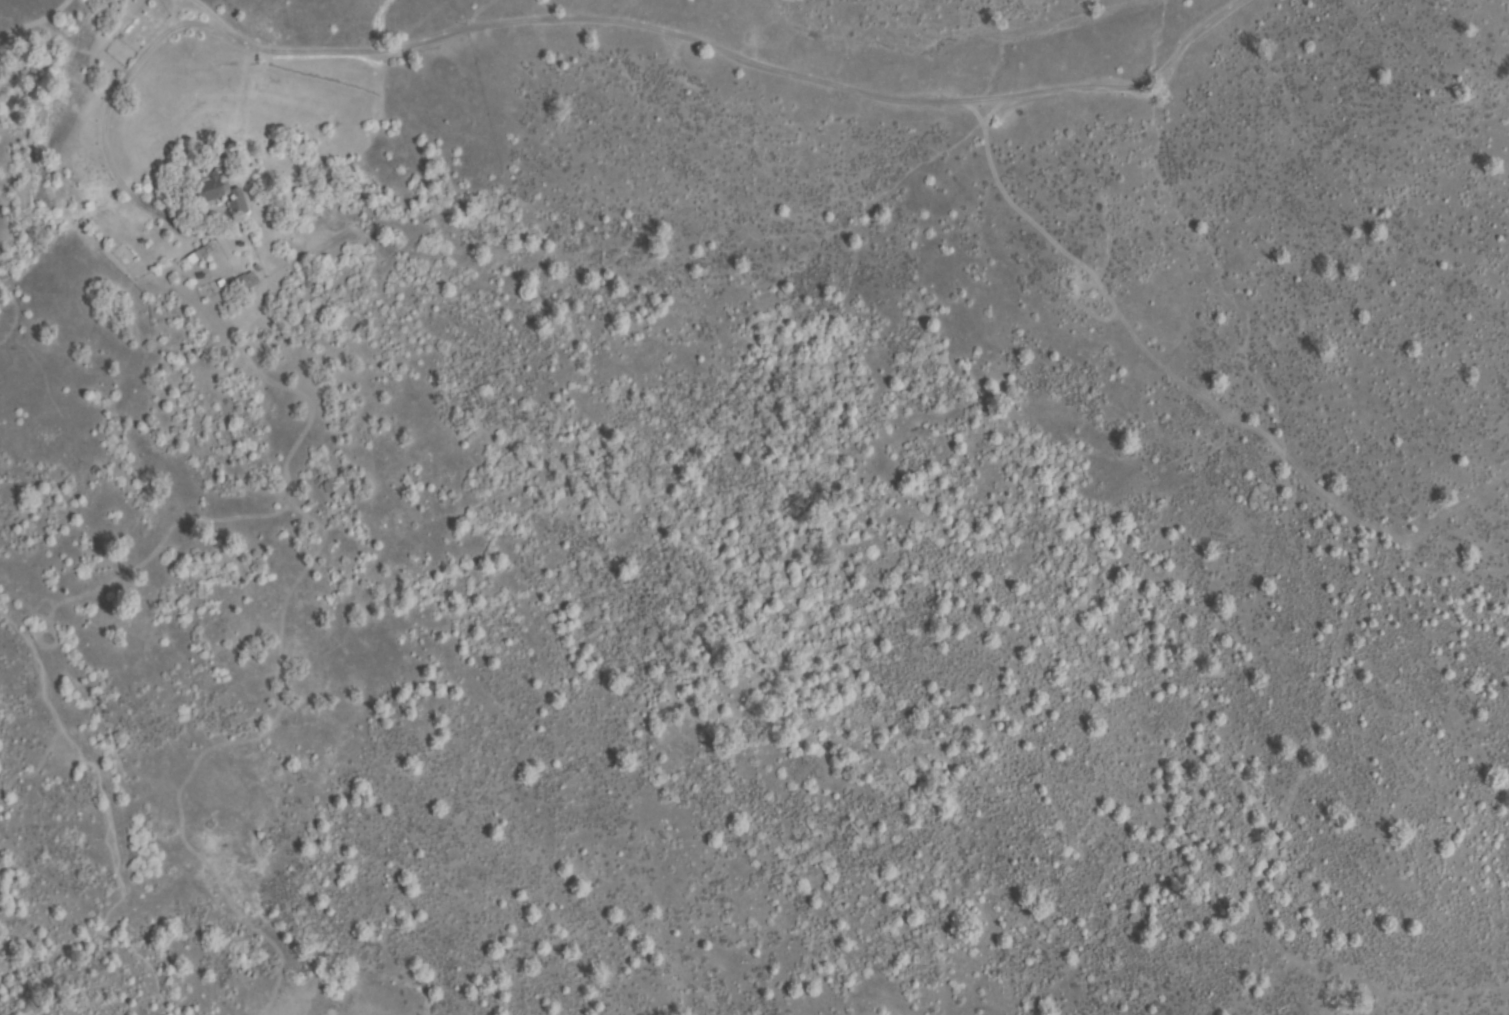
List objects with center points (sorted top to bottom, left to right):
road: (199, 17)
road: (752, 62)
road: (105, 114)
building: (211, 188)
building: (237, 205)
building: (202, 252)
building: (258, 268)
building: (221, 283)
building: (245, 283)
storage tank: (202, 357)
road: (105, 819)

